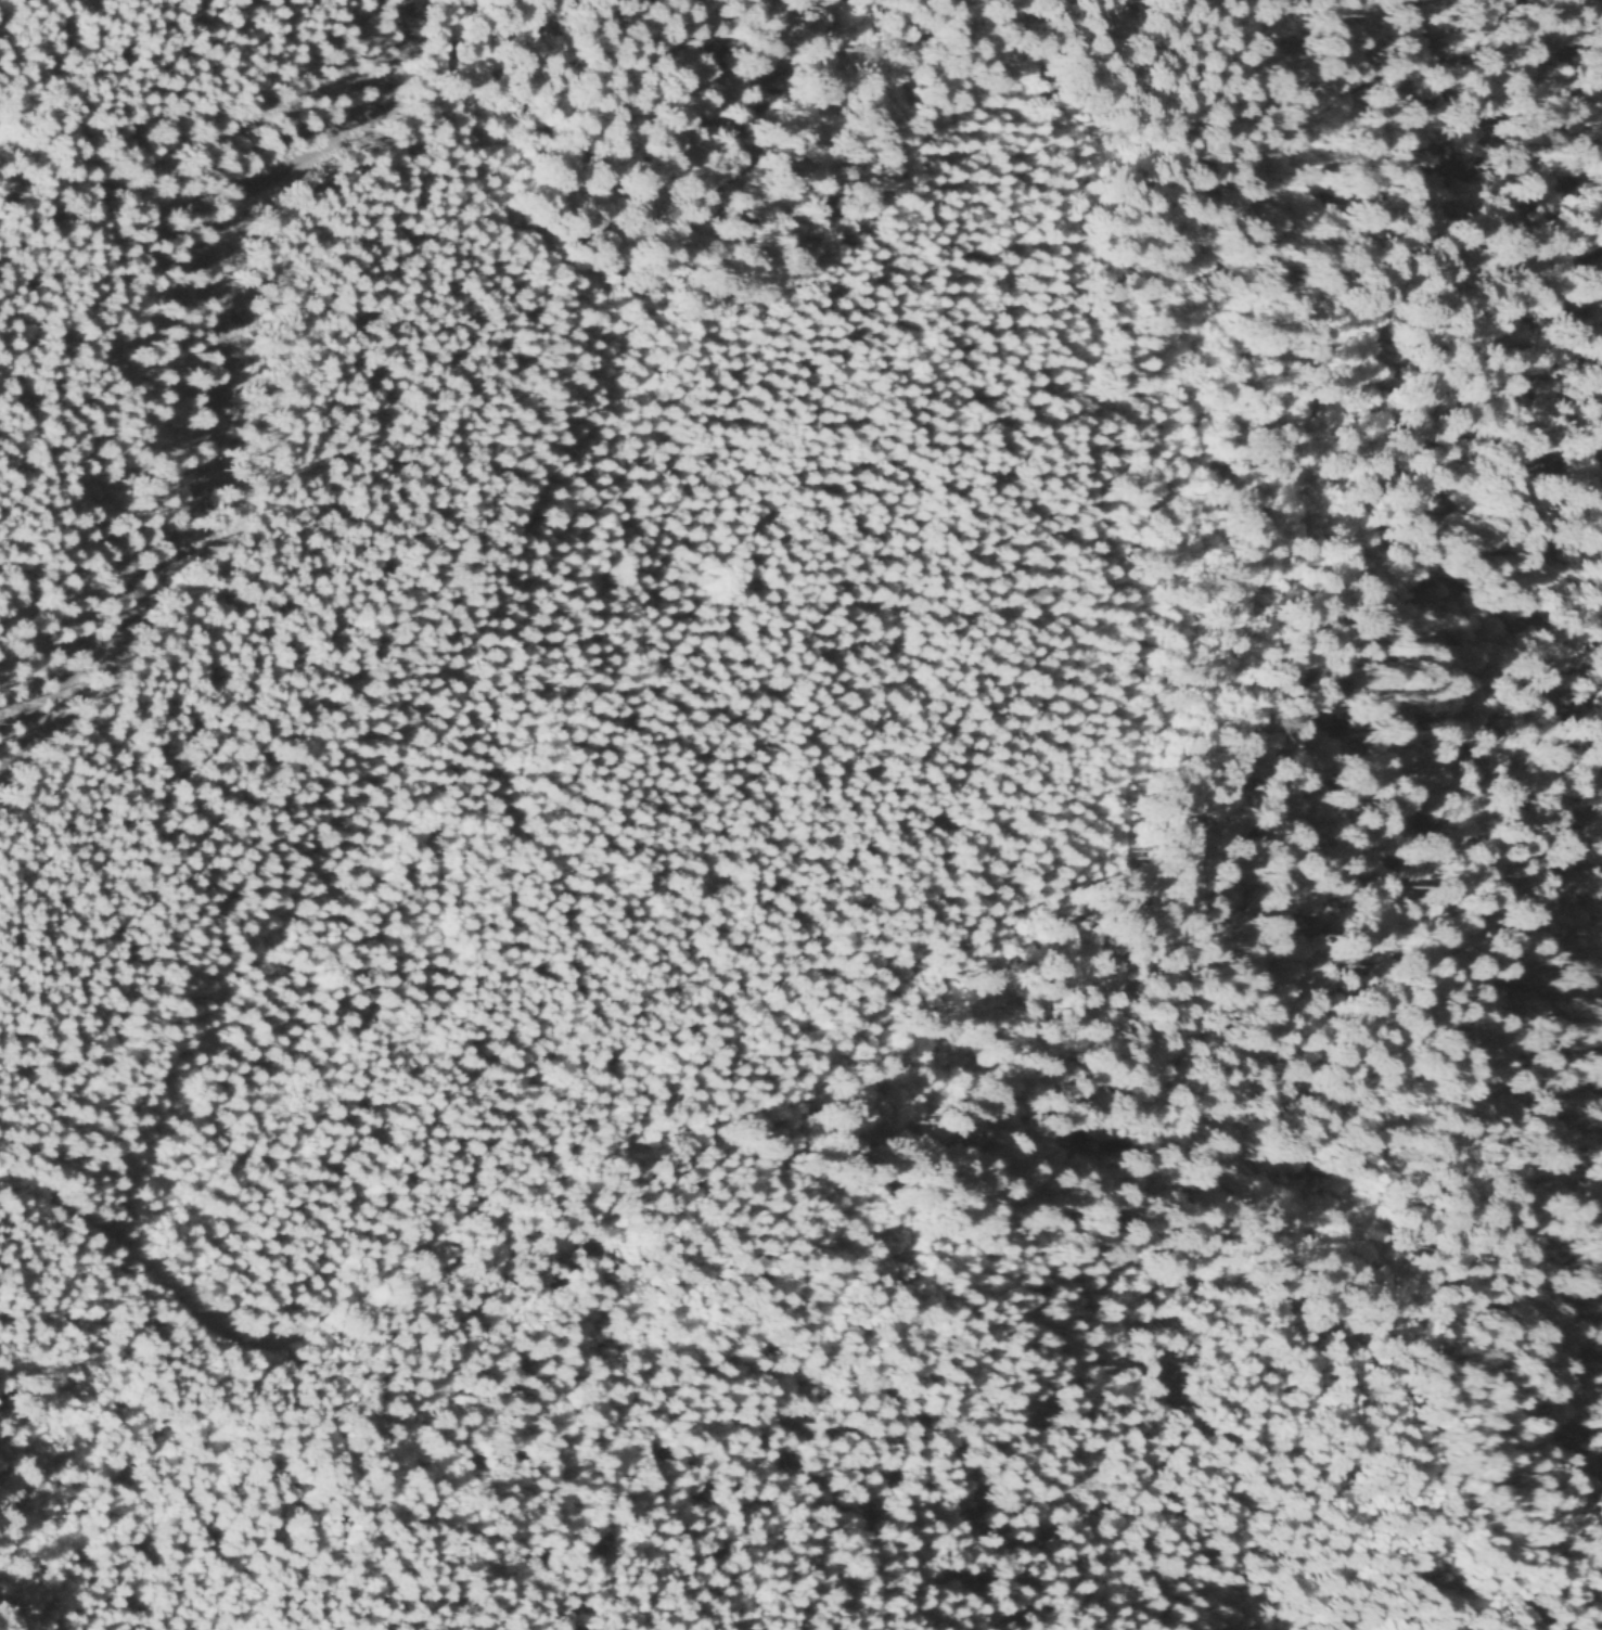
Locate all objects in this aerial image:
road: (216, 385)
road: (376, 1279)

